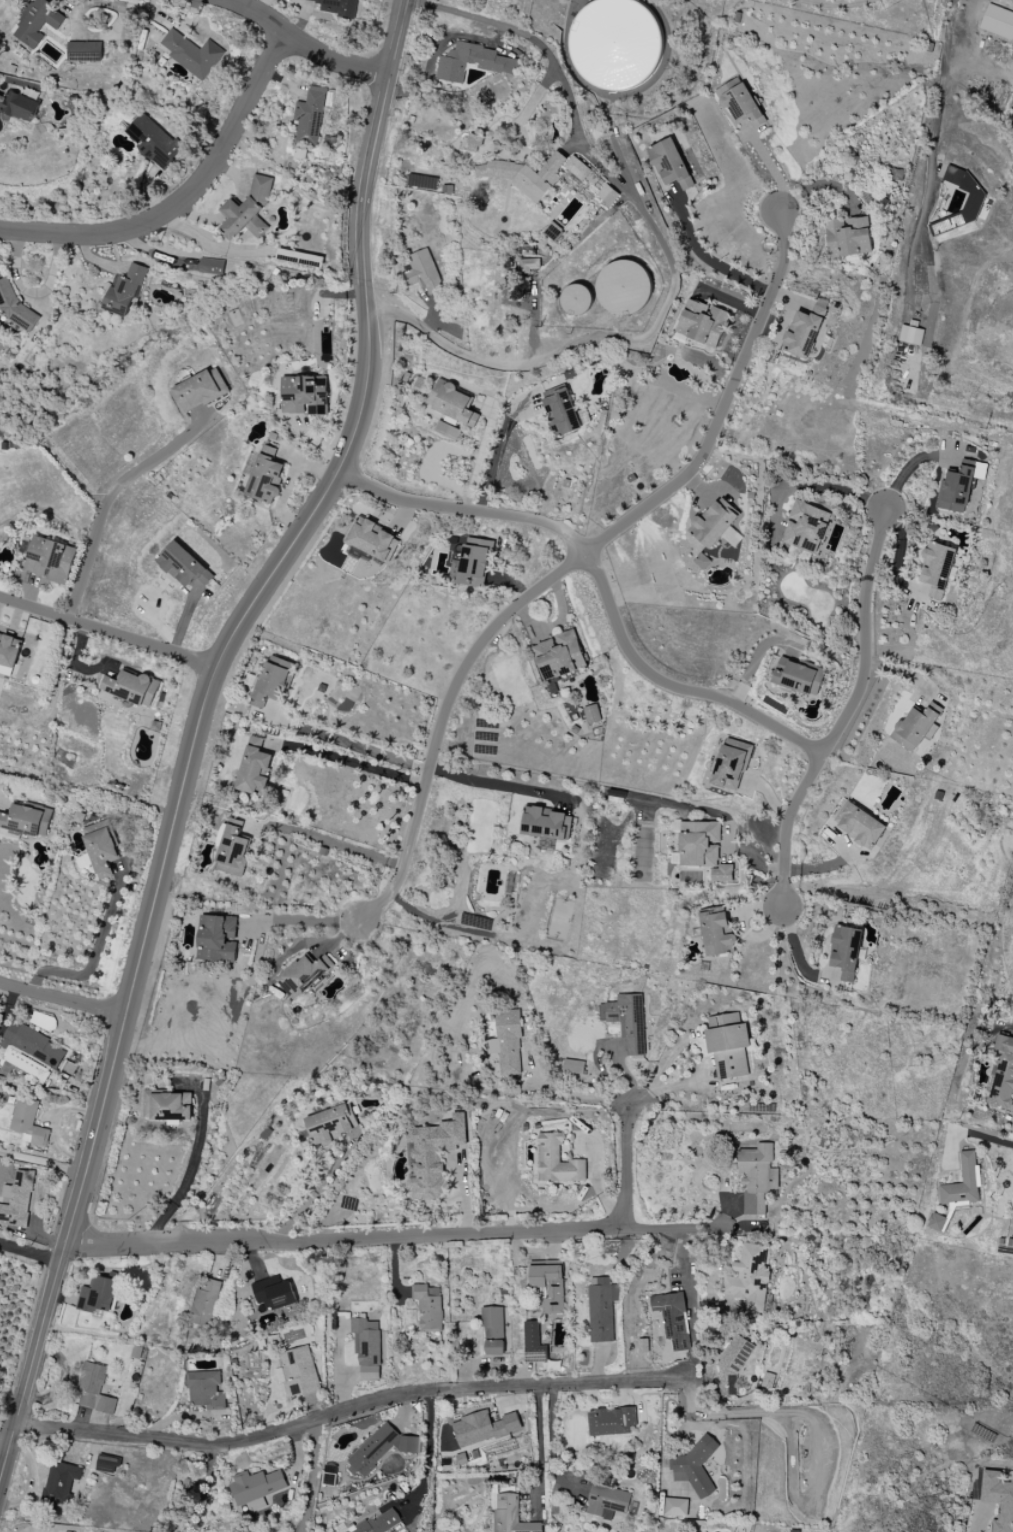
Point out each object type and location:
road: (834, 4)
building: (337, 7)
road: (257, 13)
building: (37, 22)
building: (997, 23)
building: (615, 44)
storage tank: (615, 44)
building: (85, 51)
building: (192, 54)
road: (333, 56)
building: (473, 62)
road: (982, 64)
road: (615, 93)
road: (570, 95)
road: (607, 96)
building: (740, 103)
building: (18, 106)
building: (309, 116)
road: (939, 124)
building: (152, 141)
road: (622, 154)
building: (669, 164)
road: (770, 165)
building: (577, 168)
building: (524, 175)
building: (422, 182)
building: (606, 195)
road: (185, 197)
building: (973, 201)
building: (248, 211)
building: (847, 237)
road: (709, 259)
building: (529, 265)
building: (211, 266)
building: (422, 272)
building: (623, 287)
building: (124, 291)
building: (576, 299)
building: (701, 323)
building: (804, 332)
building: (910, 335)
road: (545, 355)
building: (200, 390)
building: (304, 395)
building: (453, 404)
building: (561, 412)
building: (447, 430)
road: (496, 449)
building: (266, 475)
road: (825, 488)
building: (957, 489)
road: (109, 499)
building: (716, 524)
building: (805, 527)
building: (372, 540)
building: (50, 560)
building: (471, 563)
road: (572, 563)
building: (183, 566)
building: (936, 568)
road: (602, 583)
road: (107, 632)
building: (9, 650)
building: (559, 655)
building: (798, 677)
building: (270, 682)
building: (130, 687)
building: (592, 714)
road: (849, 714)
road: (197, 723)
building: (155, 726)
building: (914, 727)
road: (347, 743)
building: (731, 764)
building: (254, 768)
road: (499, 785)
building: (24, 822)
building: (546, 824)
building: (858, 825)
road: (332, 841)
building: (99, 848)
building: (703, 849)
building: (232, 852)
road: (308, 920)
building: (716, 933)
building: (217, 939)
building: (845, 951)
road: (797, 952)
road: (93, 964)
building: (303, 975)
road: (62, 1007)
building: (627, 1021)
building: (507, 1042)
building: (728, 1045)
building: (31, 1051)
building: (573, 1066)
building: (1002, 1074)
road: (567, 1096)
building: (166, 1106)
building: (28, 1122)
building: (331, 1124)
road: (988, 1138)
building: (432, 1155)
road: (42, 1161)
building: (557, 1161)
road: (193, 1163)
road: (627, 1168)
building: (754, 1178)
building: (963, 1182)
building: (17, 1199)
building: (936, 1222)
road: (381, 1239)
road: (28, 1254)
building: (749, 1276)
building: (548, 1287)
building: (273, 1293)
building: (97, 1295)
building: (205, 1303)
building: (428, 1307)
building: (601, 1309)
building: (673, 1319)
building: (493, 1331)
building: (533, 1344)
building: (367, 1349)
building: (298, 1371)
building: (768, 1380)
building: (94, 1389)
building: (205, 1390)
road: (348, 1409)
building: (611, 1421)
building: (483, 1428)
road: (554, 1438)
road: (540, 1439)
road: (3, 1442)
building: (380, 1449)
road: (429, 1449)
building: (107, 1465)
building: (696, 1465)
road: (314, 1476)
building: (60, 1482)
building: (256, 1486)
building: (998, 1499)
building: (607, 1501)
building: (676, 1507)
building: (509, 1514)
building: (382, 1523)

